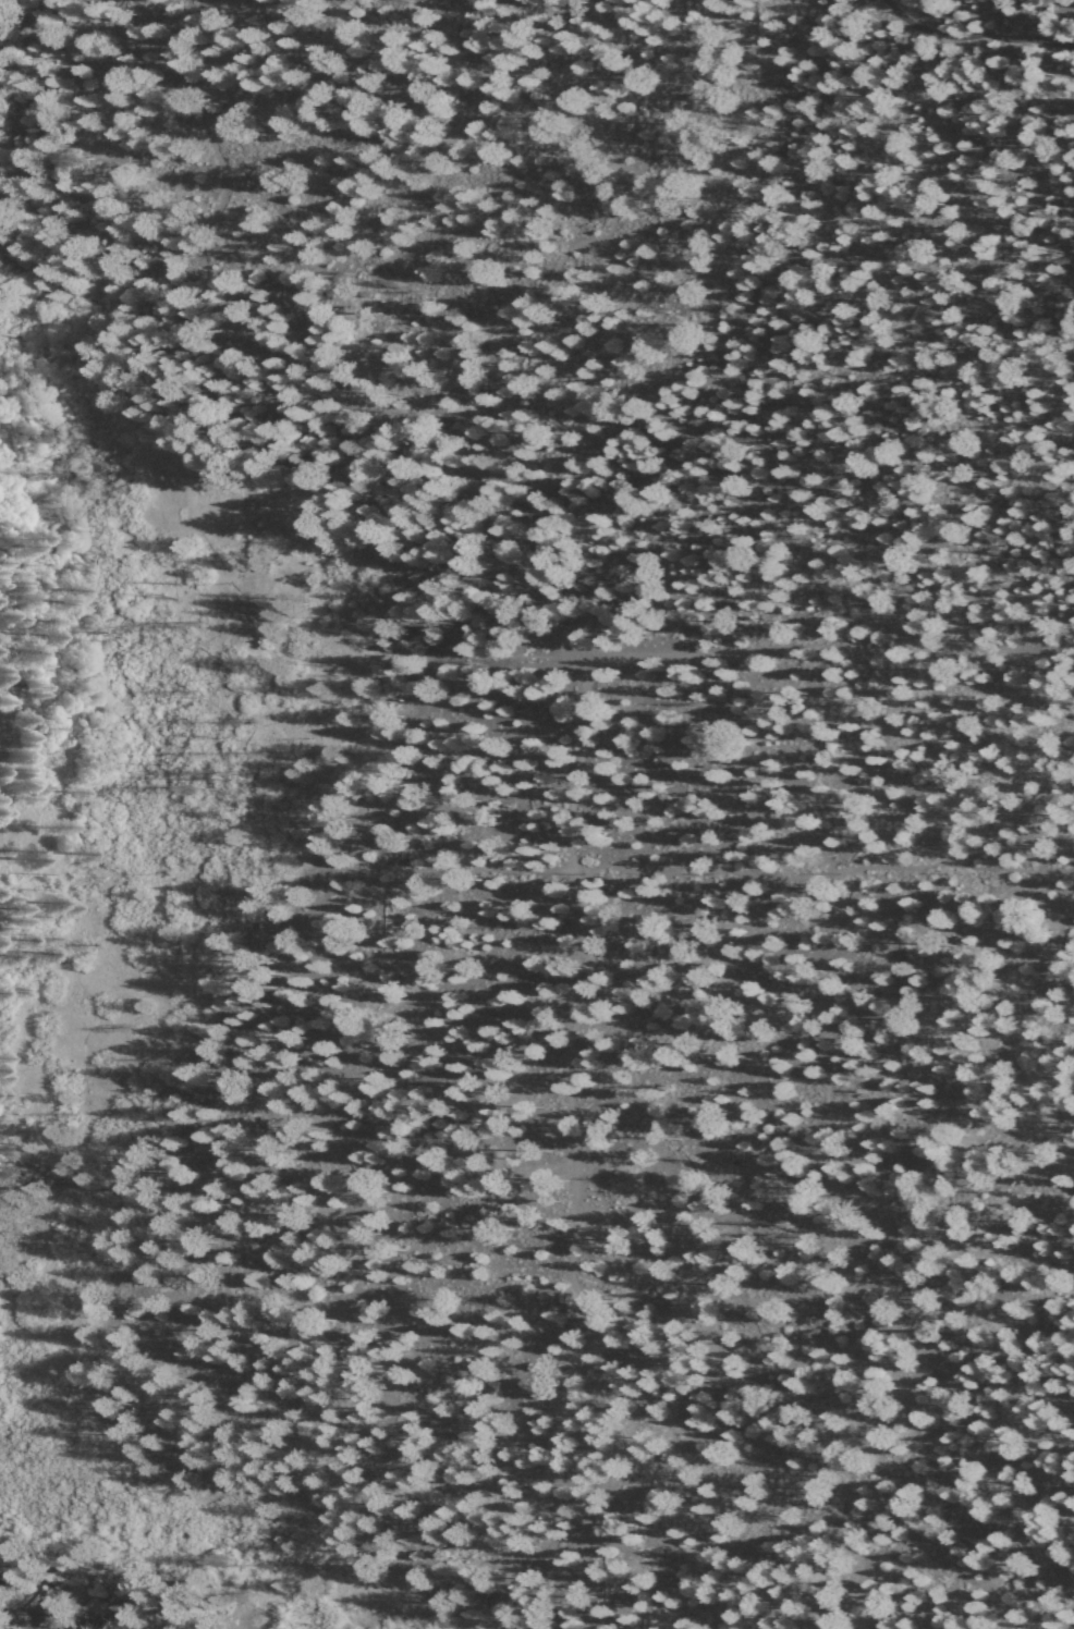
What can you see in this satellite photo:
road: (1002, 16)
road: (973, 35)
road: (110, 52)
road: (585, 216)
road: (828, 651)
road: (584, 719)
road: (693, 871)
road: (212, 1155)
road: (912, 1175)
road: (90, 1188)
road: (825, 1289)
road: (821, 1477)
road: (1062, 1616)

